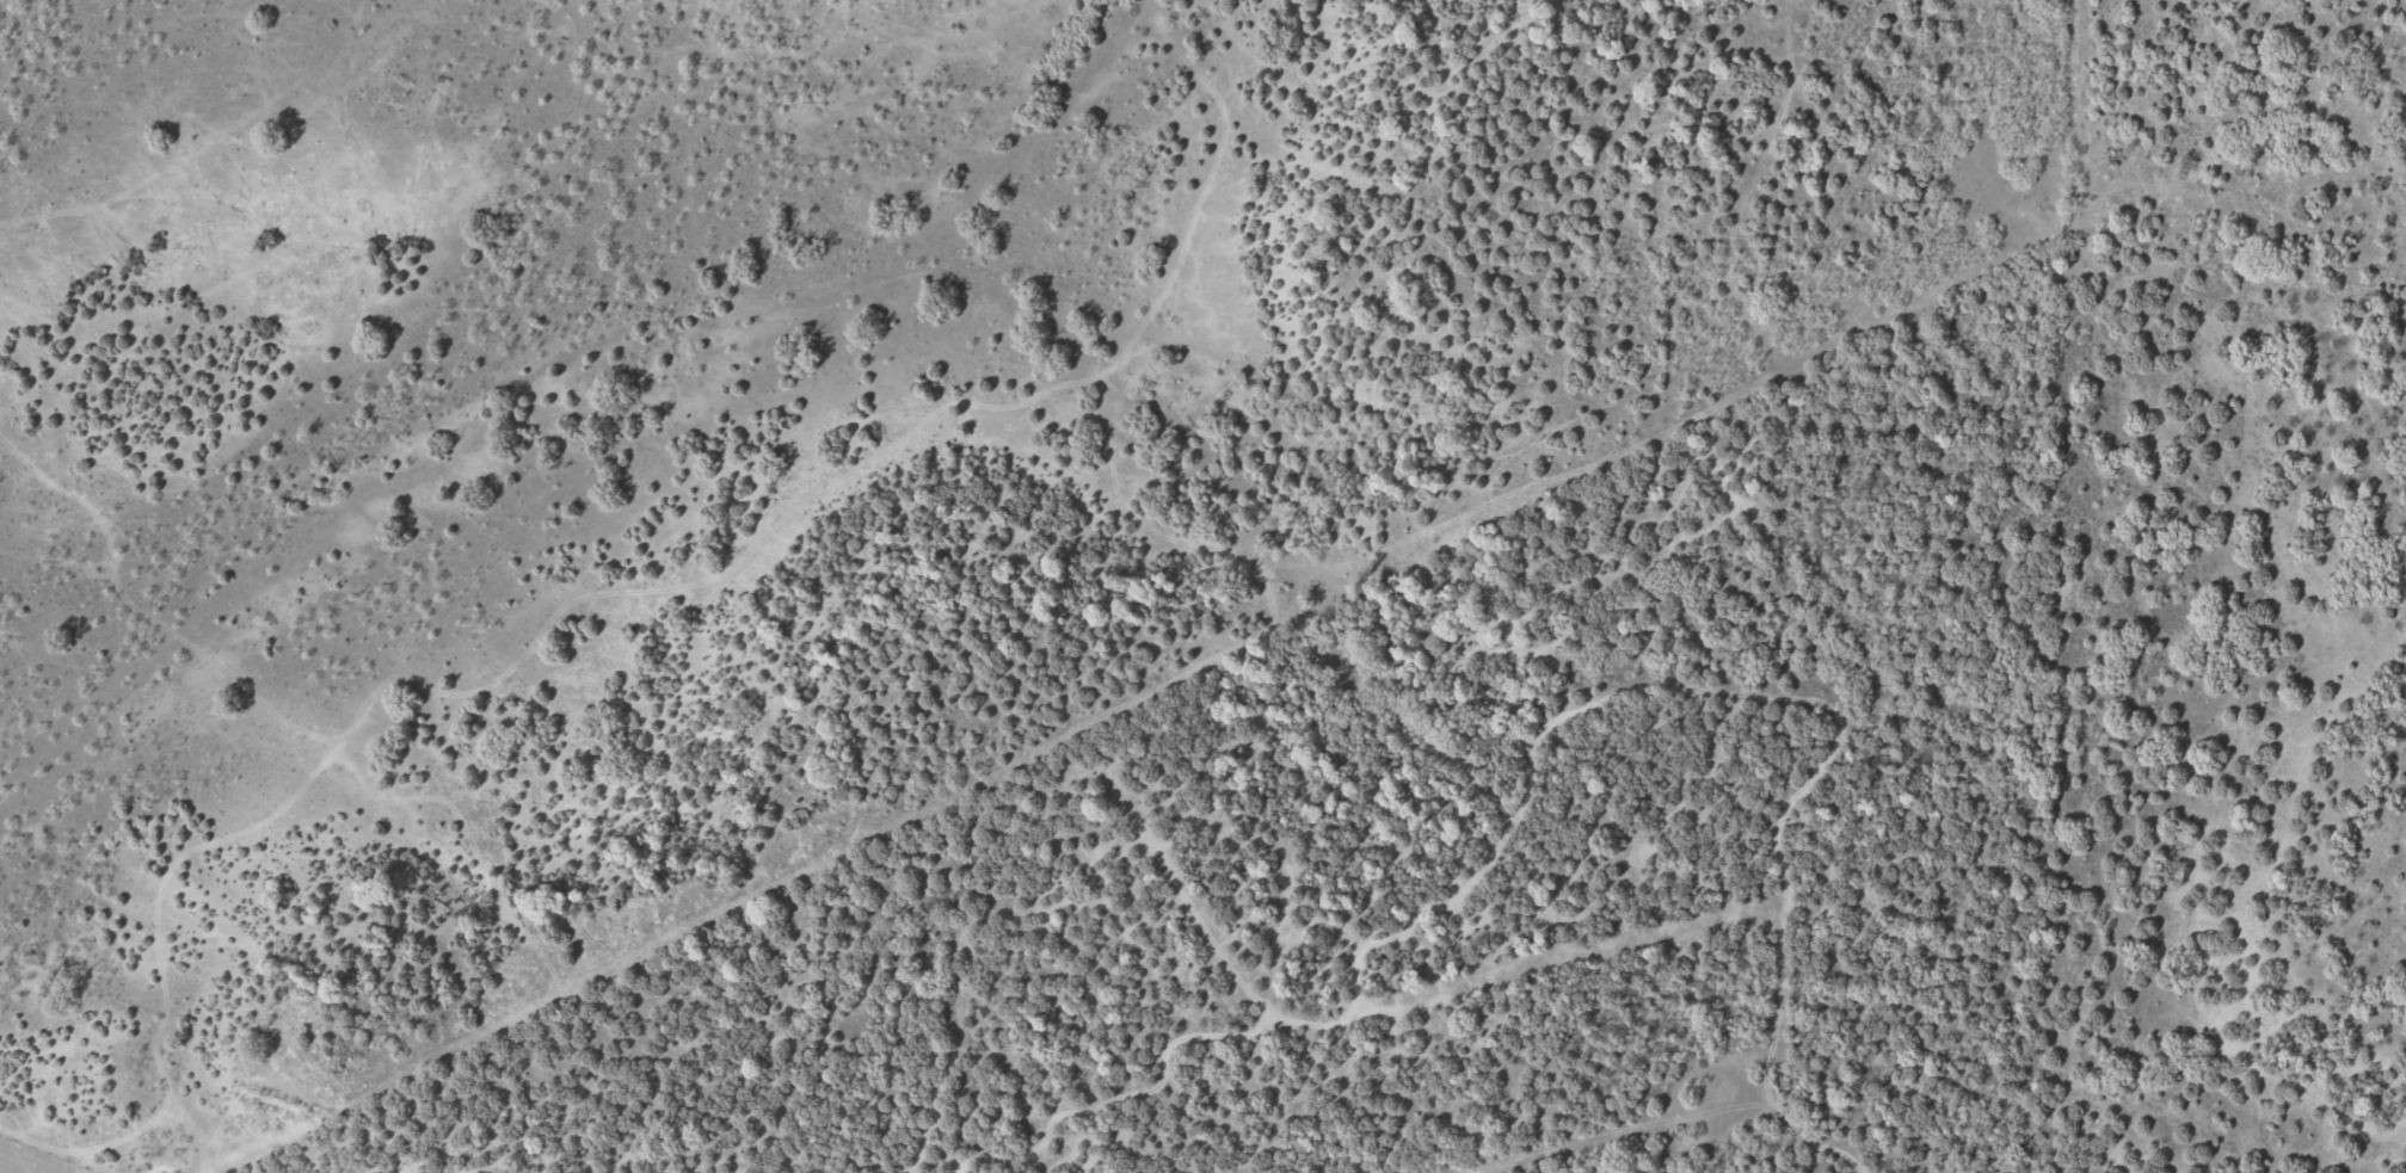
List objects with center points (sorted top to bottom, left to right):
road: (2197, 548)
road: (2283, 740)

